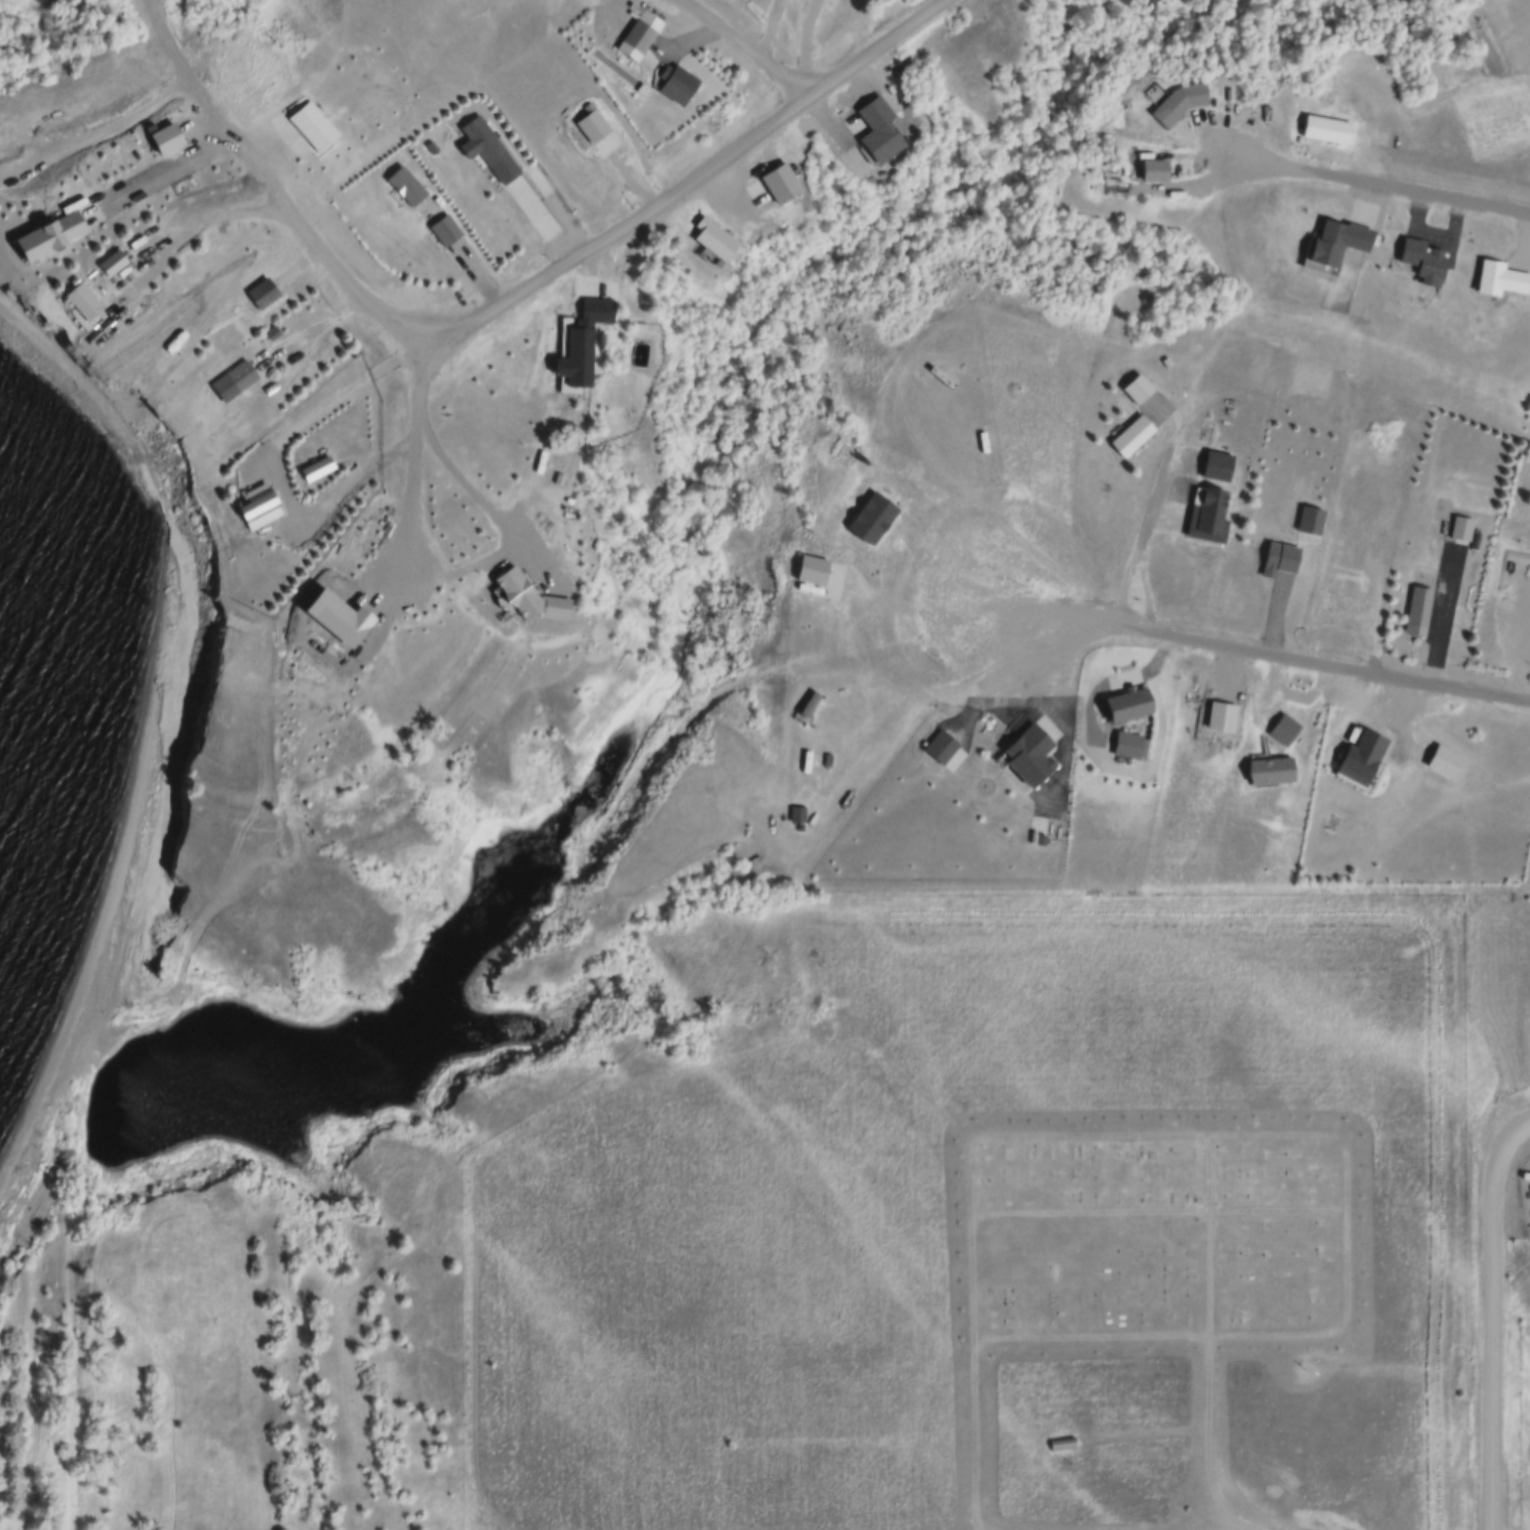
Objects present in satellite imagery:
road: (770, 30)
building: (646, 32)
building: (632, 37)
road: (806, 44)
road: (750, 51)
building: (666, 84)
building: (684, 88)
building: (1184, 104)
building: (316, 127)
building: (597, 128)
building: (1327, 129)
building: (883, 132)
building: (171, 140)
building: (489, 150)
building: (1158, 171)
road: (714, 173)
road: (1362, 180)
building: (407, 186)
building: (775, 188)
road: (278, 198)
road: (208, 220)
building: (446, 231)
building: (52, 237)
building: (1340, 241)
building: (721, 245)
building: (1425, 262)
building: (118, 265)
road: (160, 266)
road: (296, 267)
building: (1501, 279)
building: (264, 293)
building: (89, 303)
building: (273, 333)
building: (592, 343)
road: (400, 354)
building: (234, 380)
building: (1138, 390)
building: (1133, 436)
road: (413, 450)
building: (1219, 466)
building: (258, 502)
building: (1207, 514)
building: (874, 519)
building: (1463, 529)
building: (1281, 559)
building: (814, 570)
building: (539, 600)
building: (1421, 612)
road: (1443, 617)
building: (341, 619)
road: (1324, 665)
building: (1131, 705)
building: (1285, 730)
building: (1130, 745)
building: (942, 746)
building: (1028, 758)
building: (1363, 758)
building: (1446, 761)
building: (1272, 770)
building: (795, 813)
road: (1045, 1138)
road: (1495, 1319)
road: (1047, 1343)
road: (478, 1360)
road: (1206, 1440)
building: (1064, 1445)

